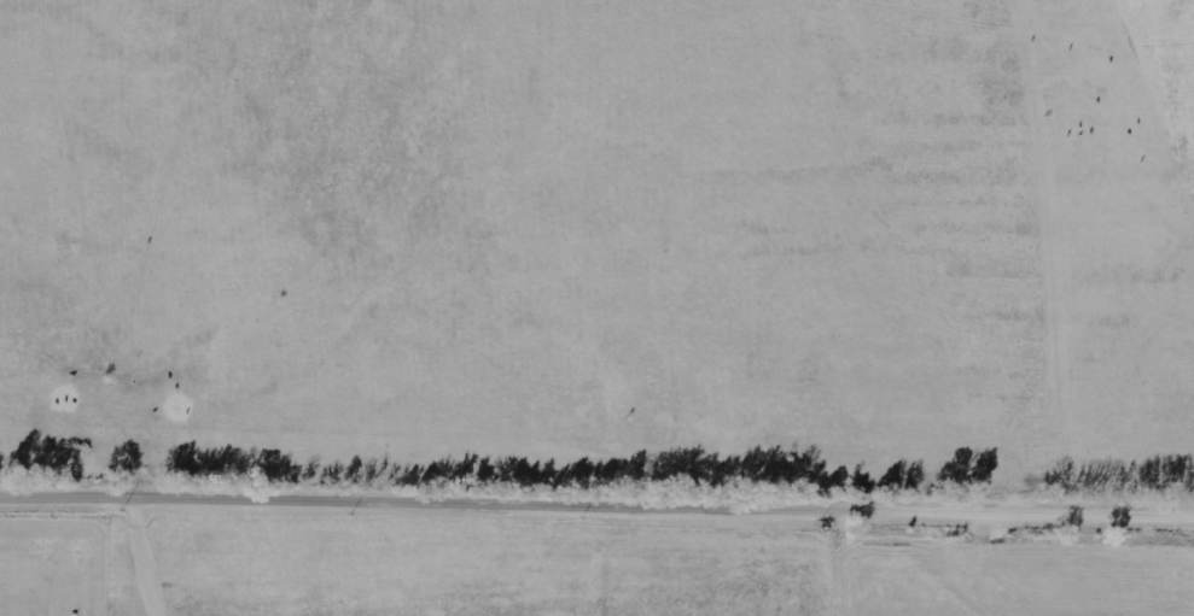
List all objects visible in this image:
road: (596, 511)

